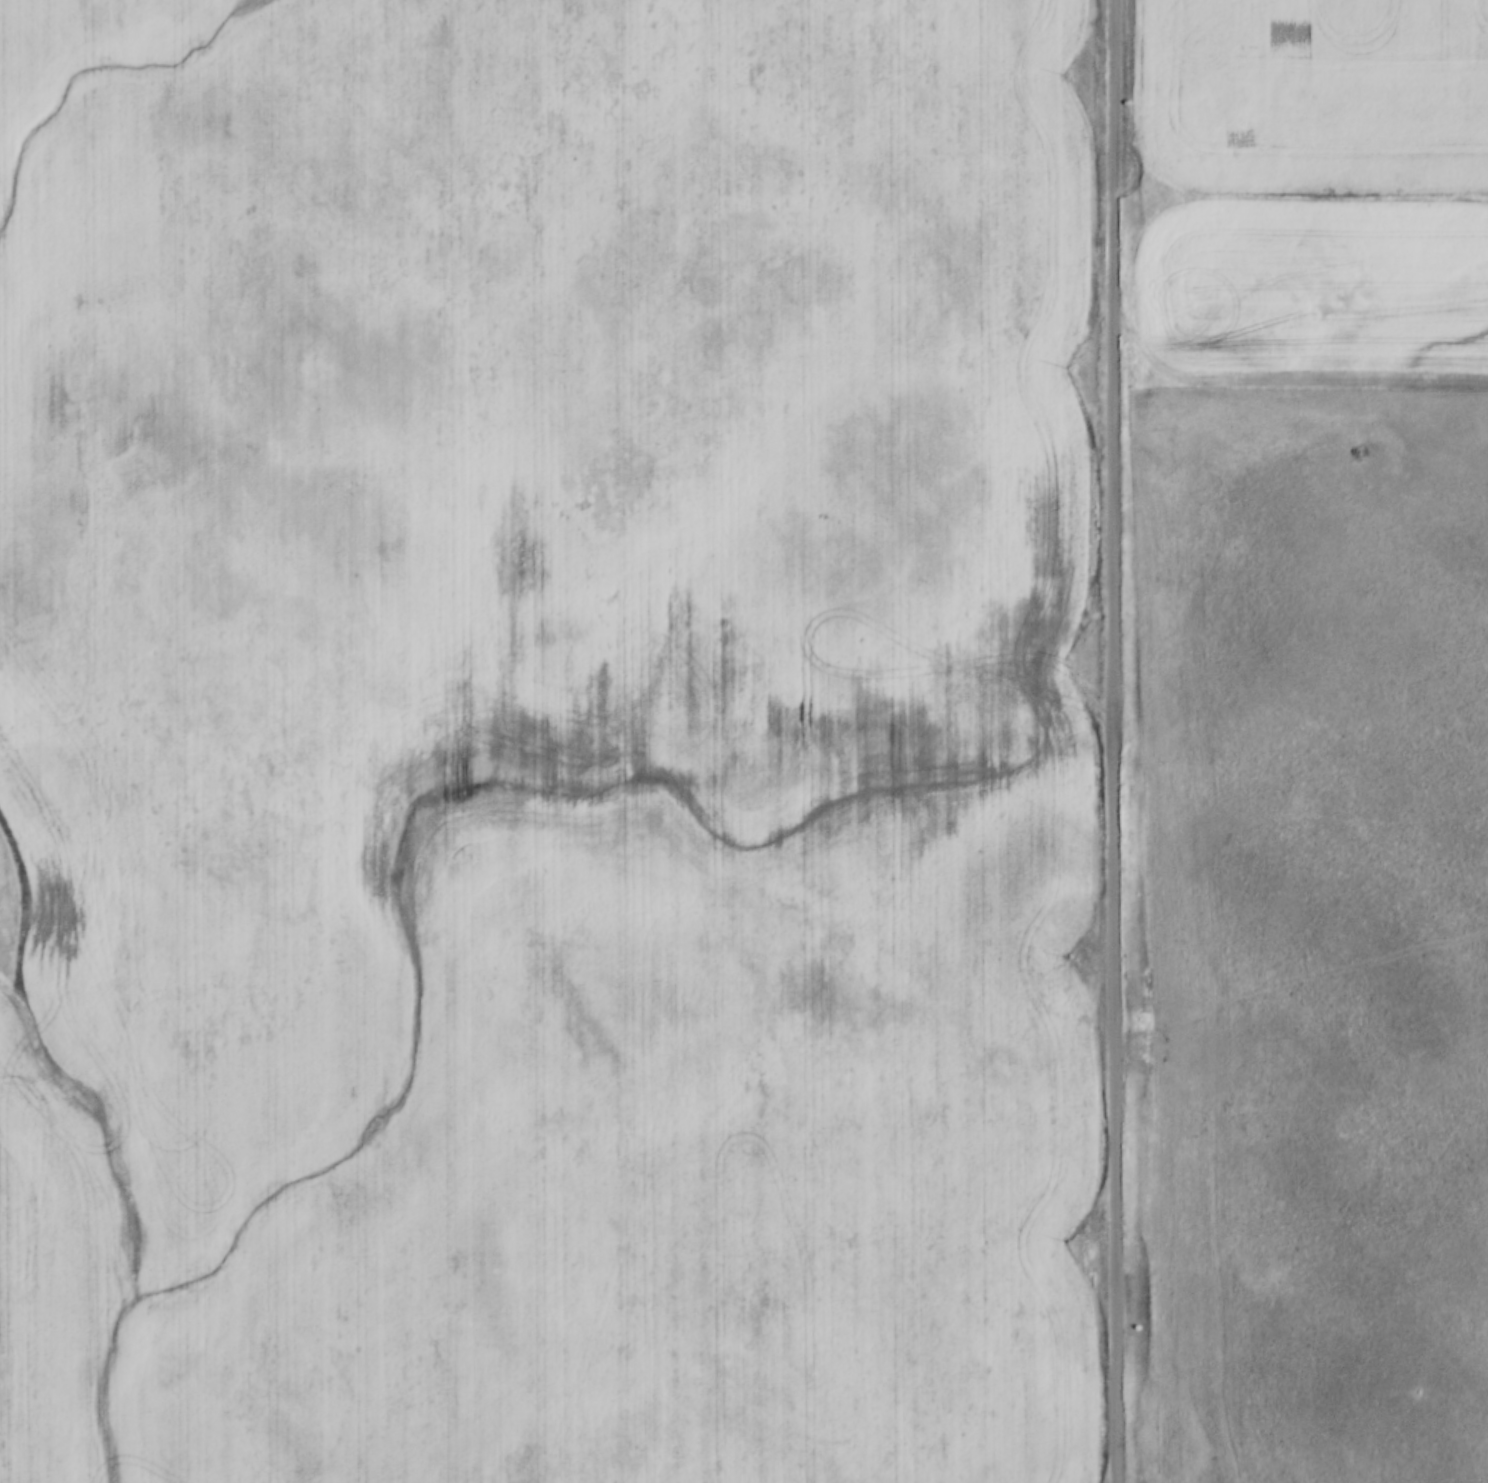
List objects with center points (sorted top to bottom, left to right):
road: (1114, 741)

